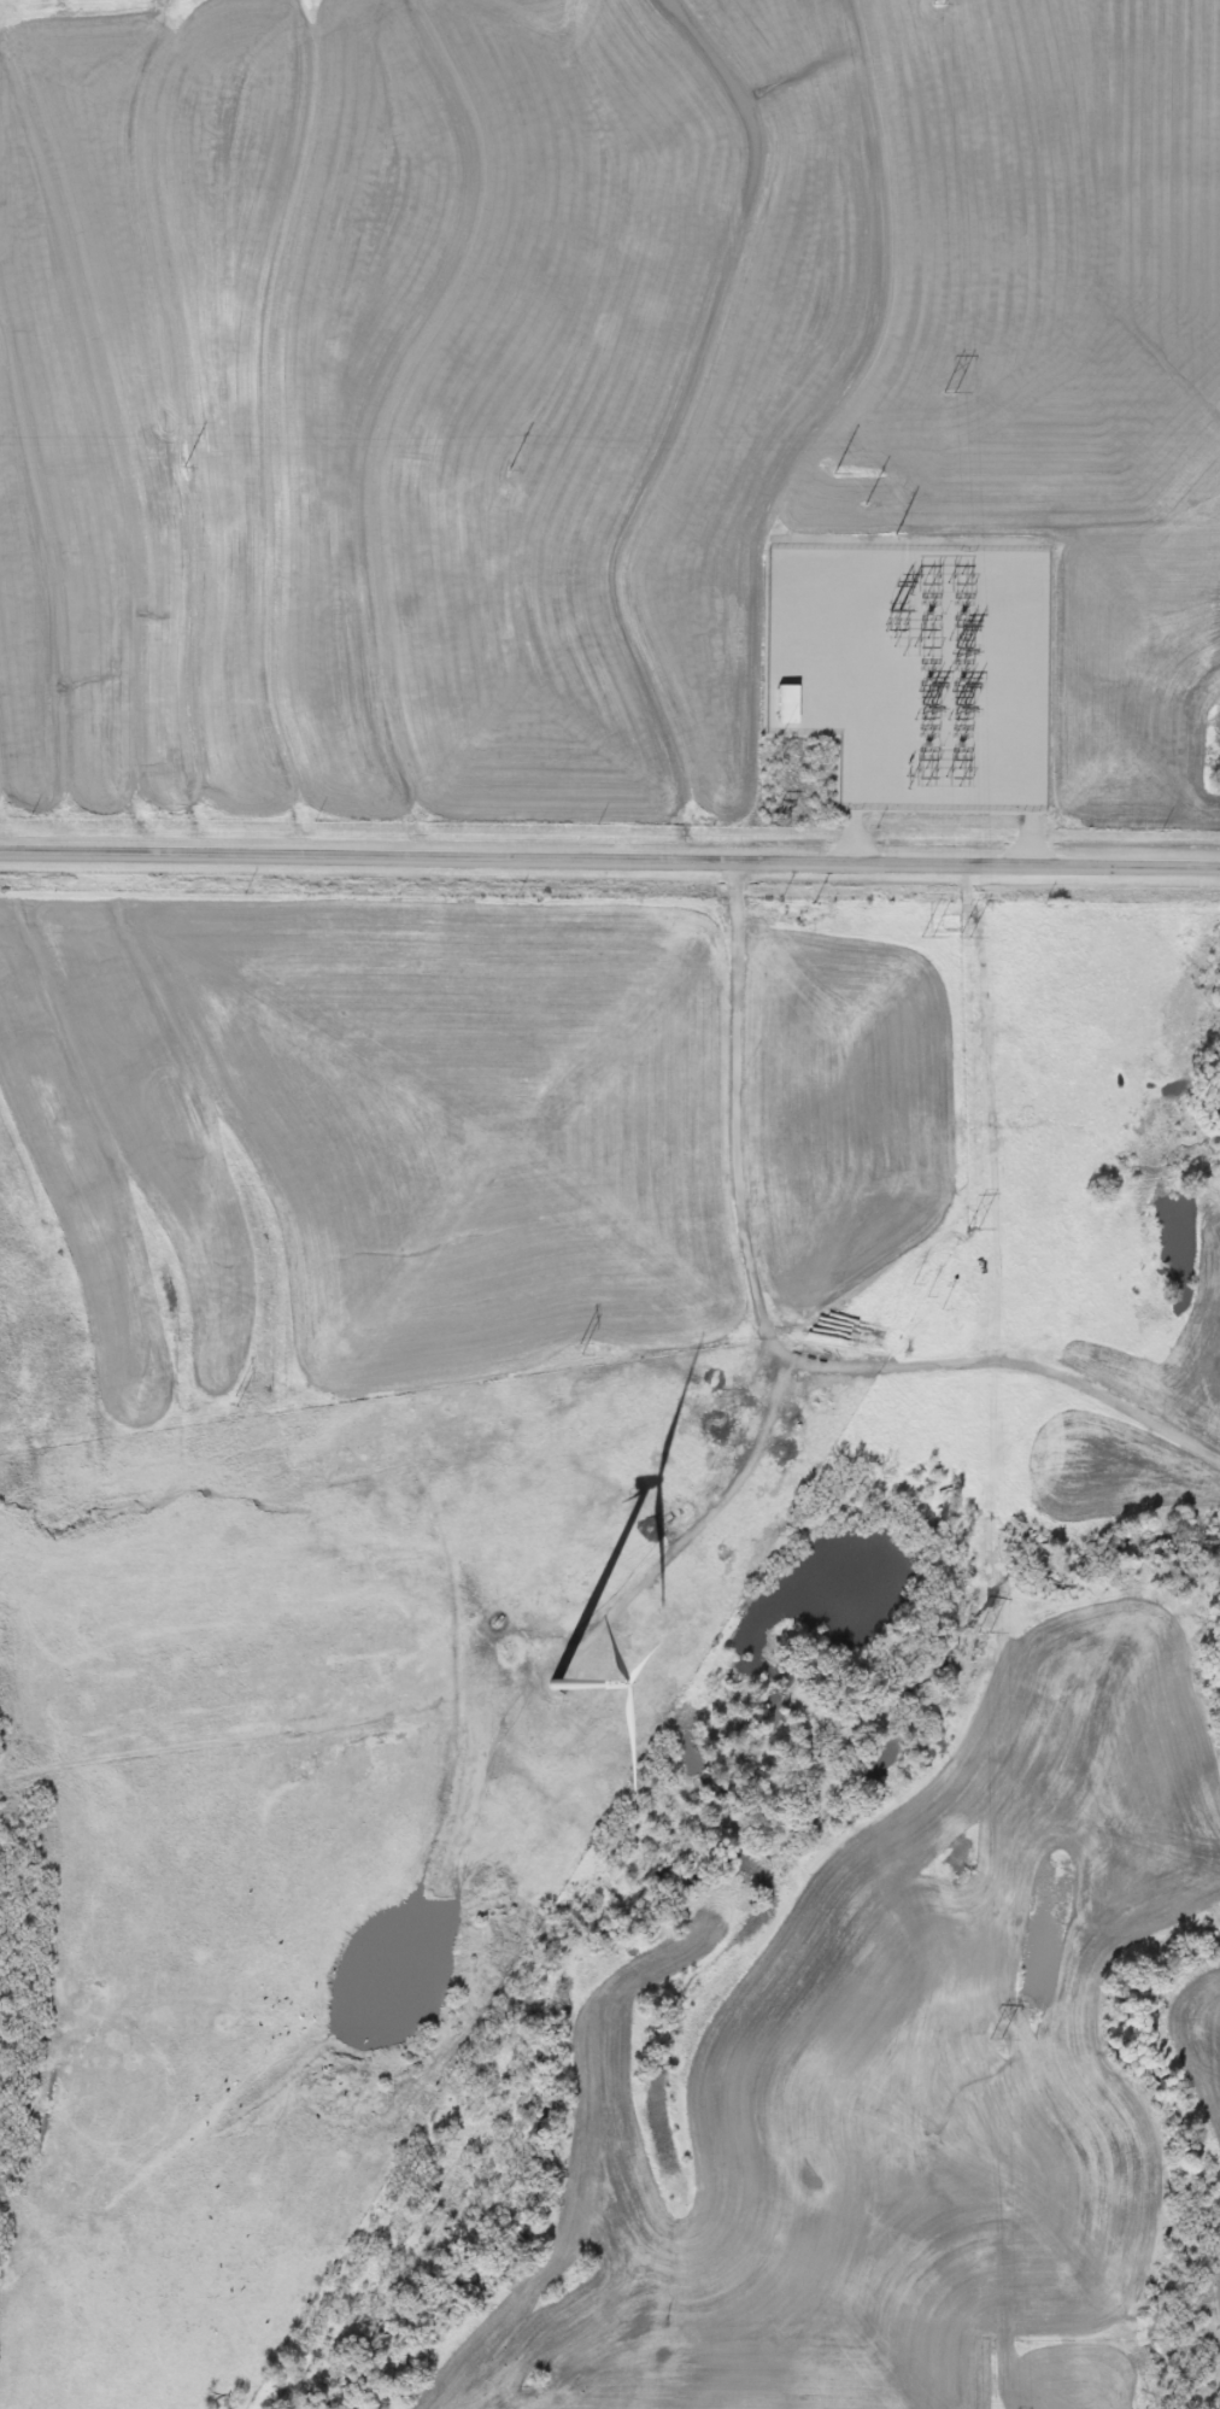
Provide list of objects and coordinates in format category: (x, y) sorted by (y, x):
power substation: (919, 662)
road: (610, 857)
wind turbine: (562, 1682)

